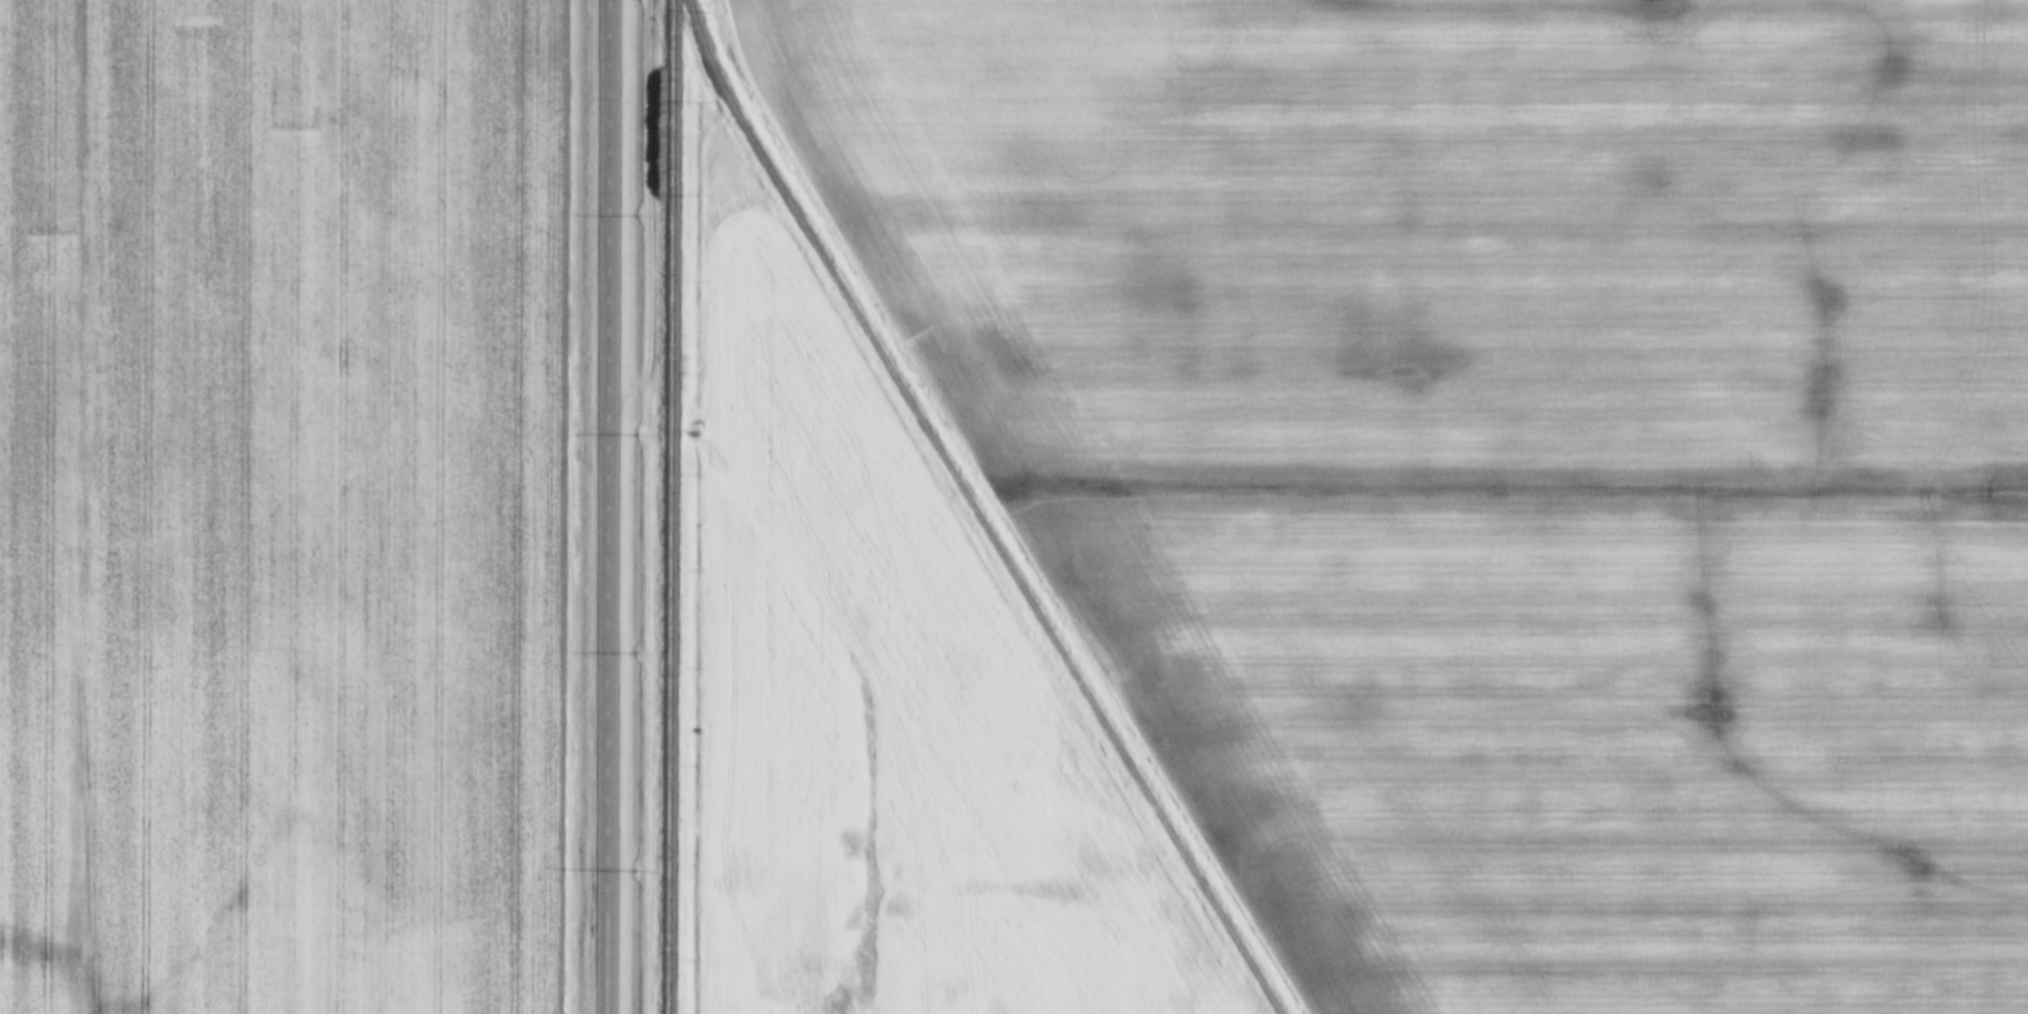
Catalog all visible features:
railway: (709, 62)
road: (608, 507)
railway: (666, 507)
railway: (1010, 568)

